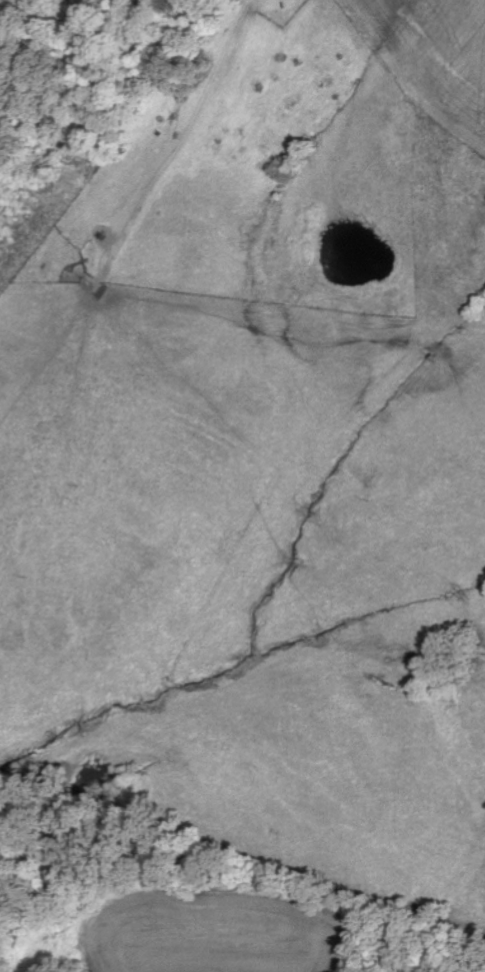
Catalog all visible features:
road: (117, 246)

